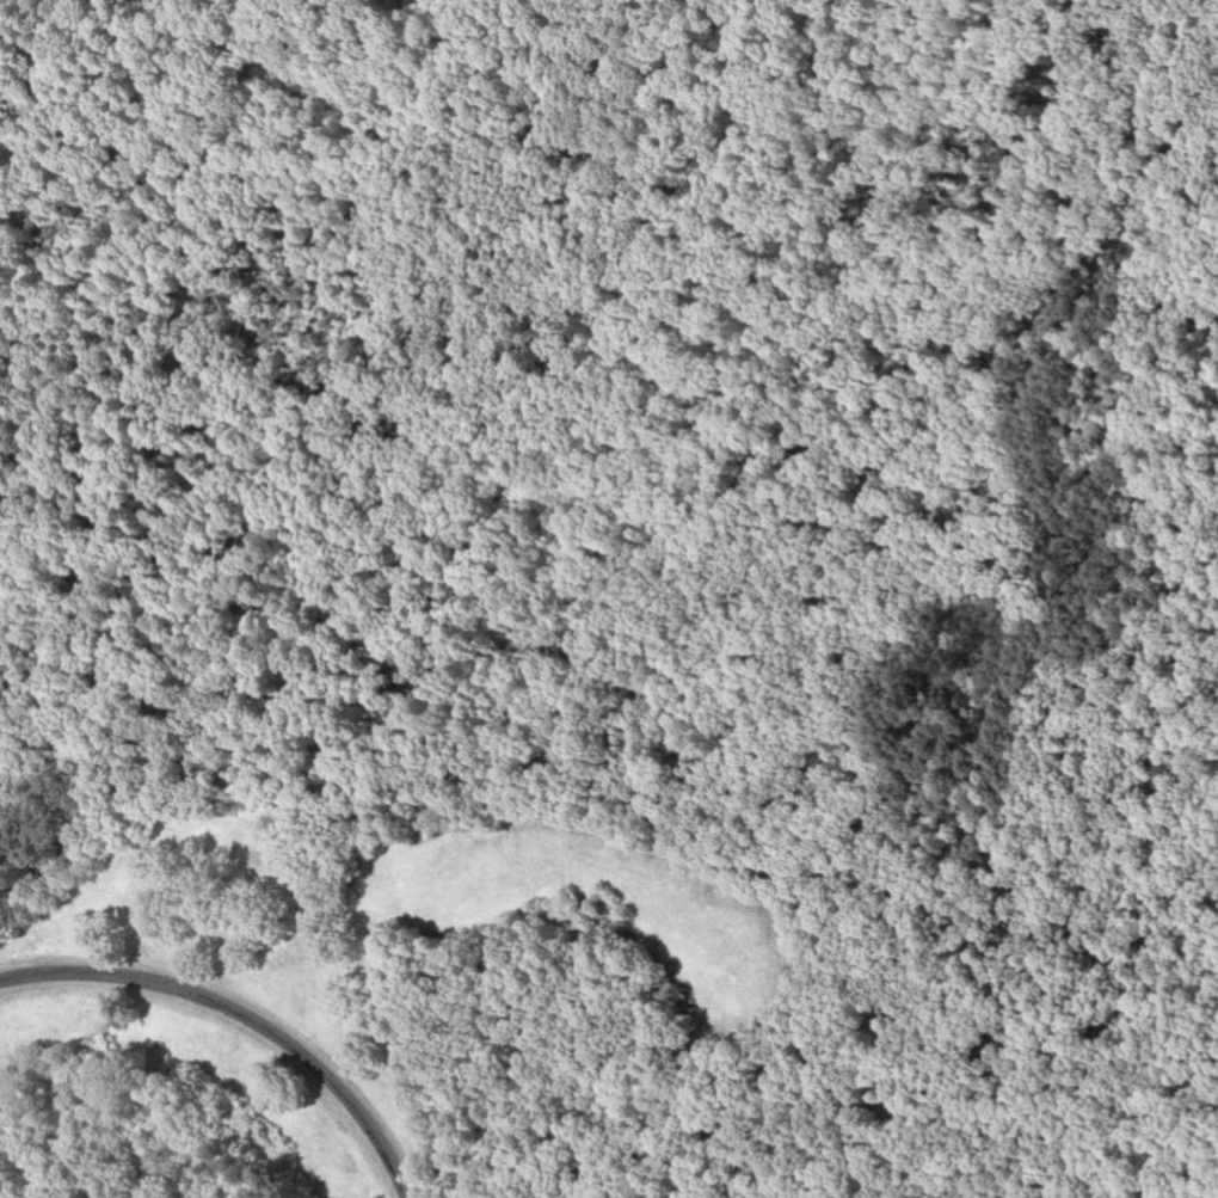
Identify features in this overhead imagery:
road: (240, 1019)

